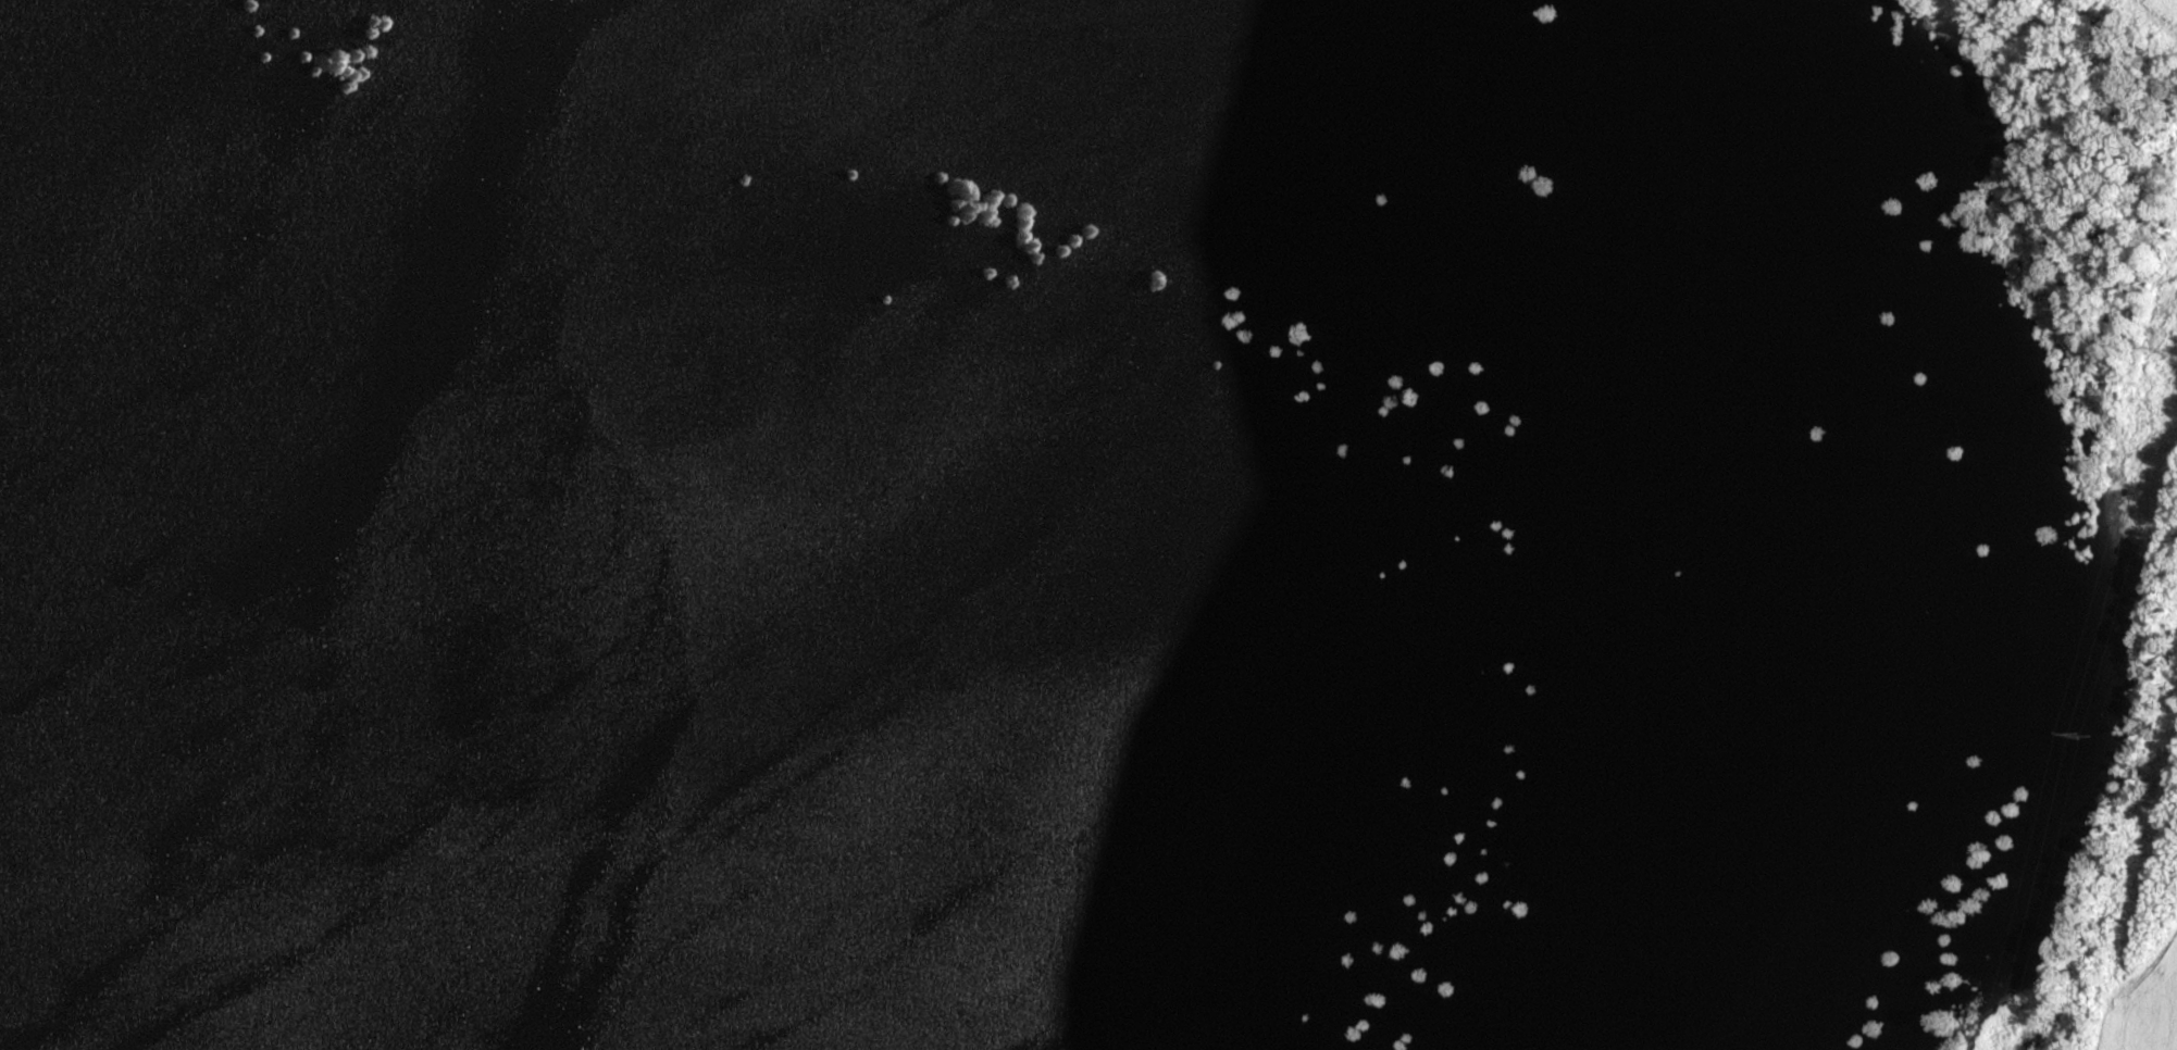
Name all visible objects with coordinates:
power tower: (2173, 358)
power tower: (2080, 738)

